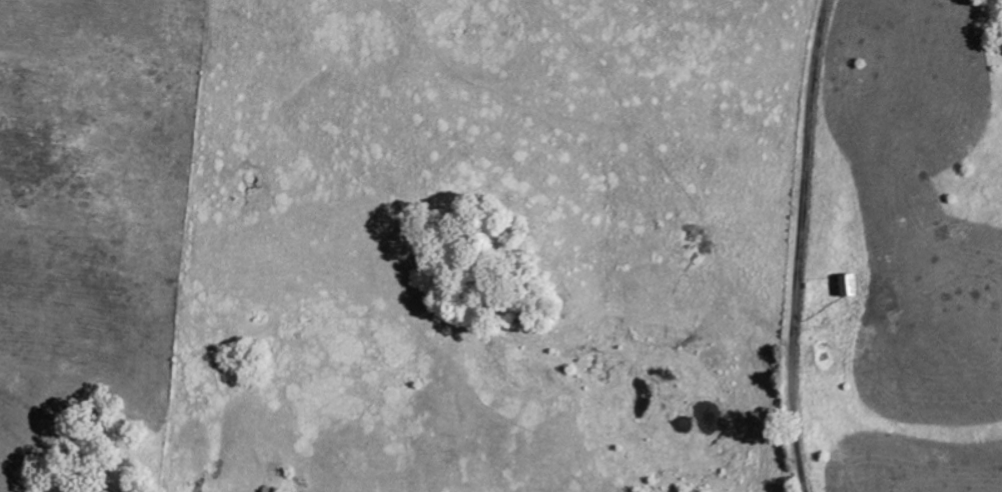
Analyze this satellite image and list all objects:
road: (803, 245)

